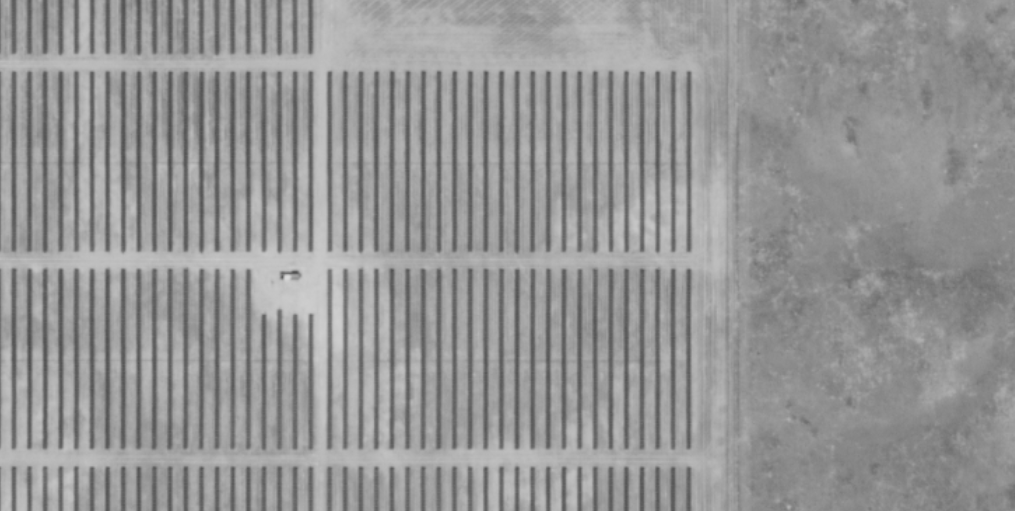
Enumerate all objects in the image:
solar farm: (364, 255)

